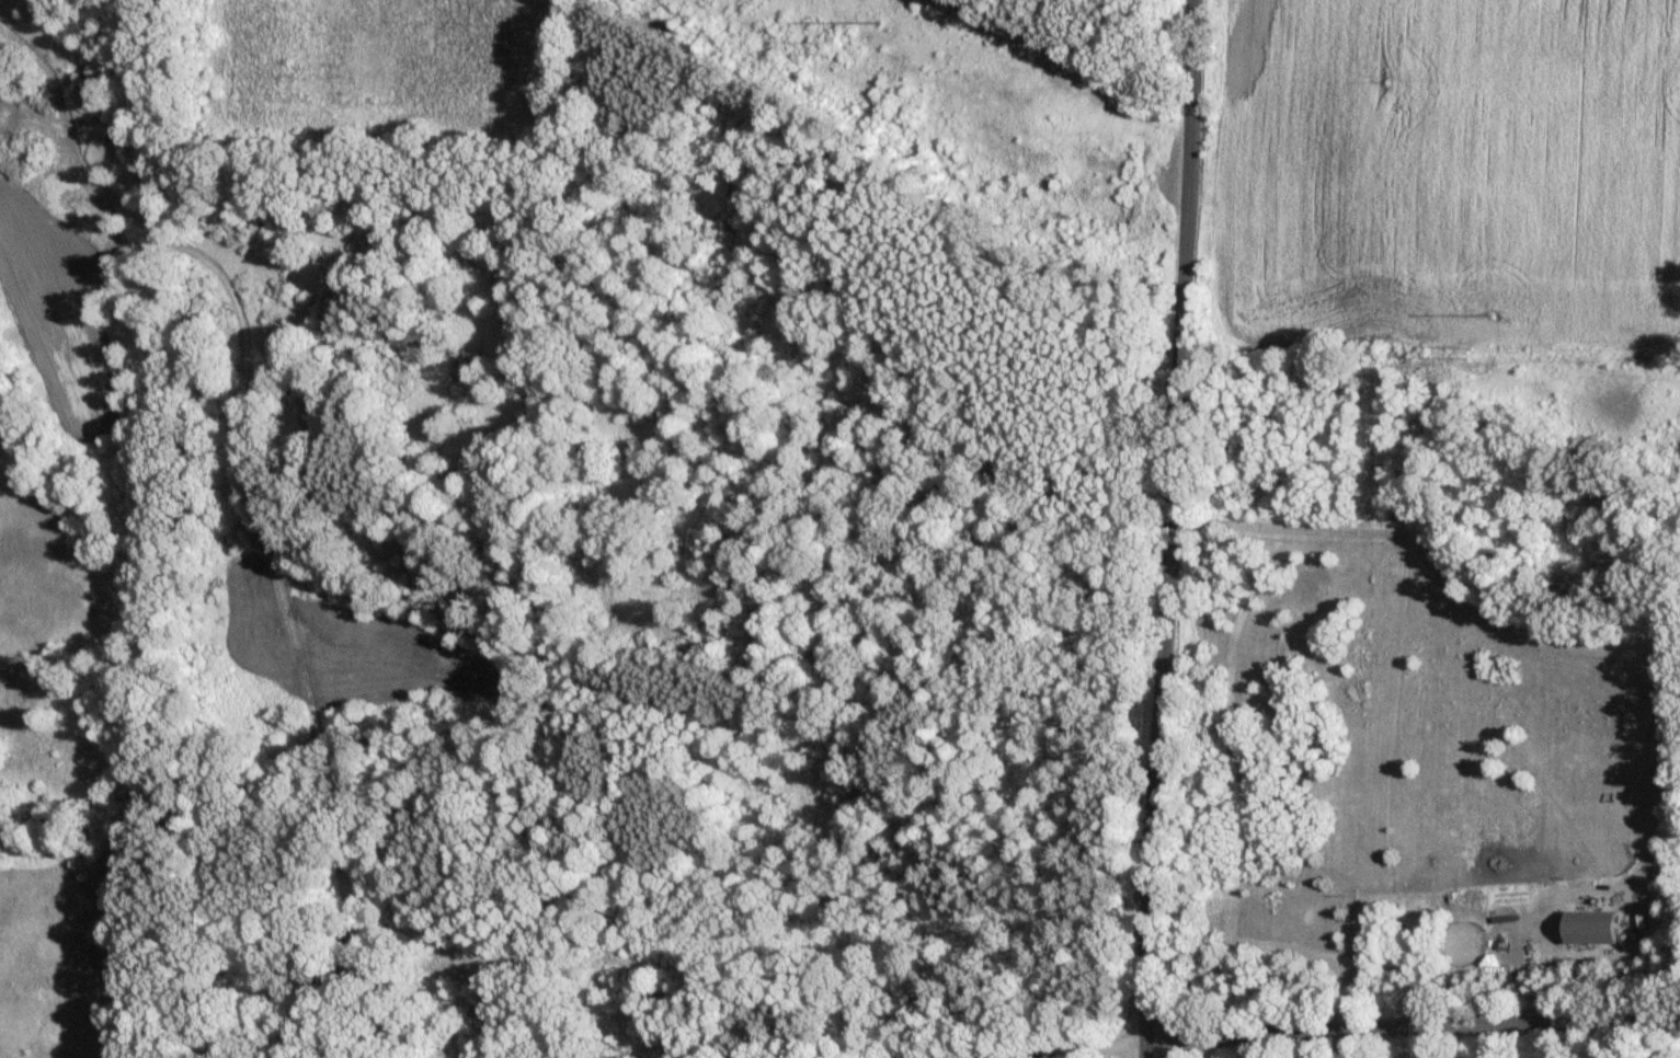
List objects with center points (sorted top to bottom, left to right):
power tower: (875, 15)
power tower: (838, 51)
power tower: (1496, 318)
power tower: (1474, 356)
road: (1165, 529)
road: (1409, 1021)
road: (1068, 1048)

